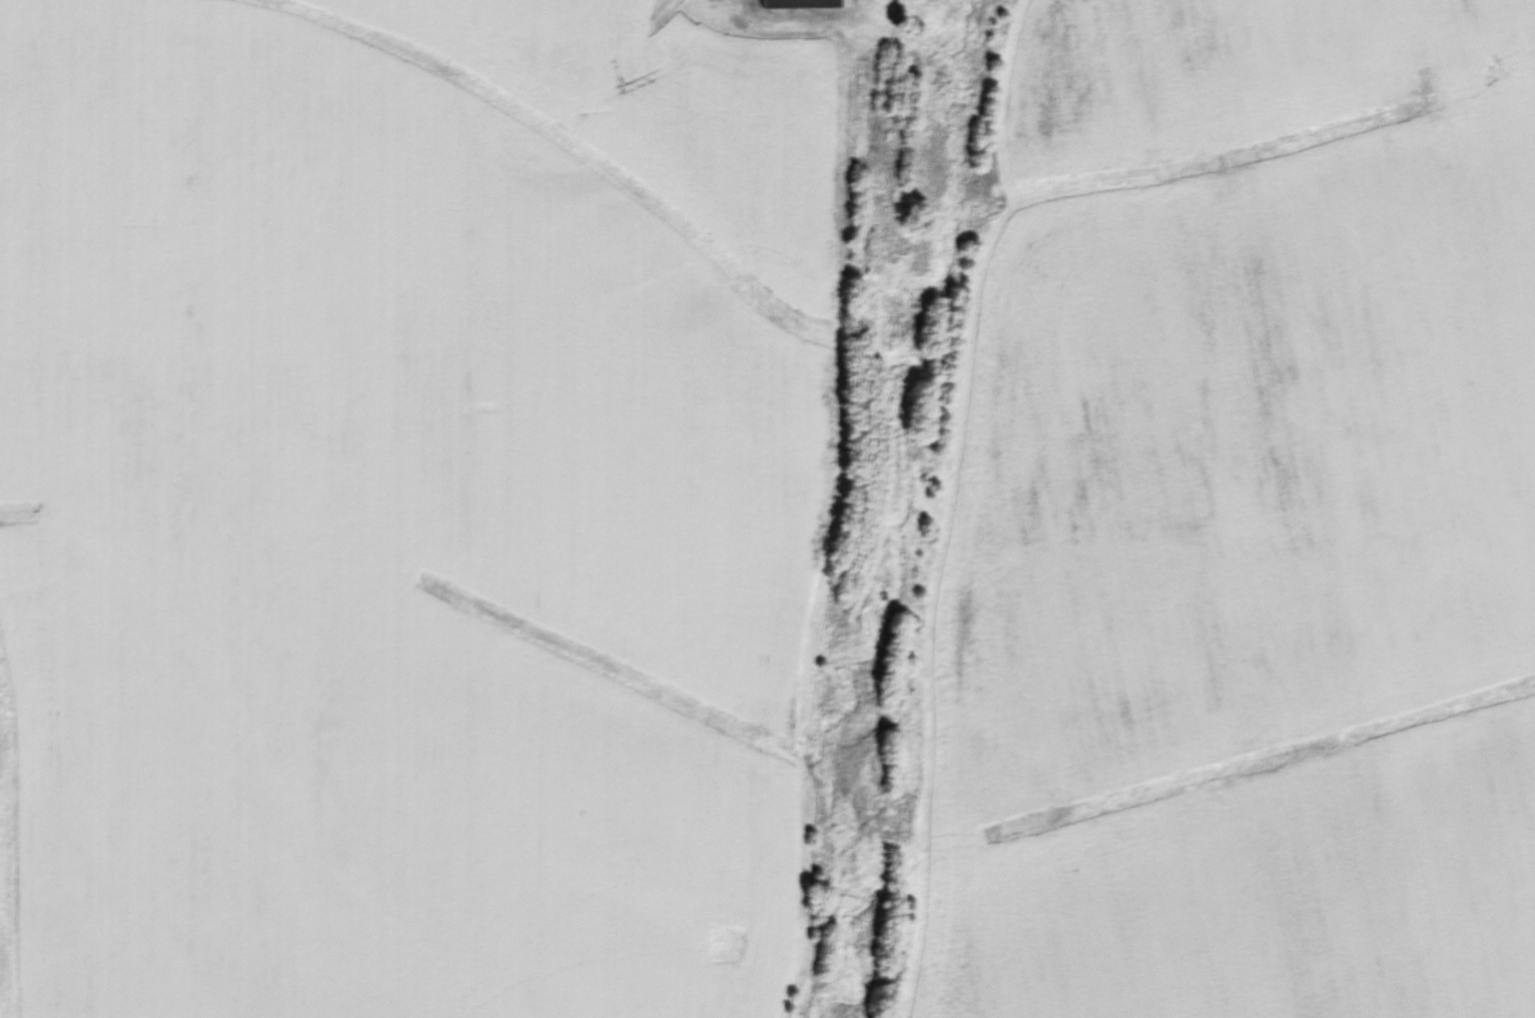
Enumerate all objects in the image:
building: (806, 3)

